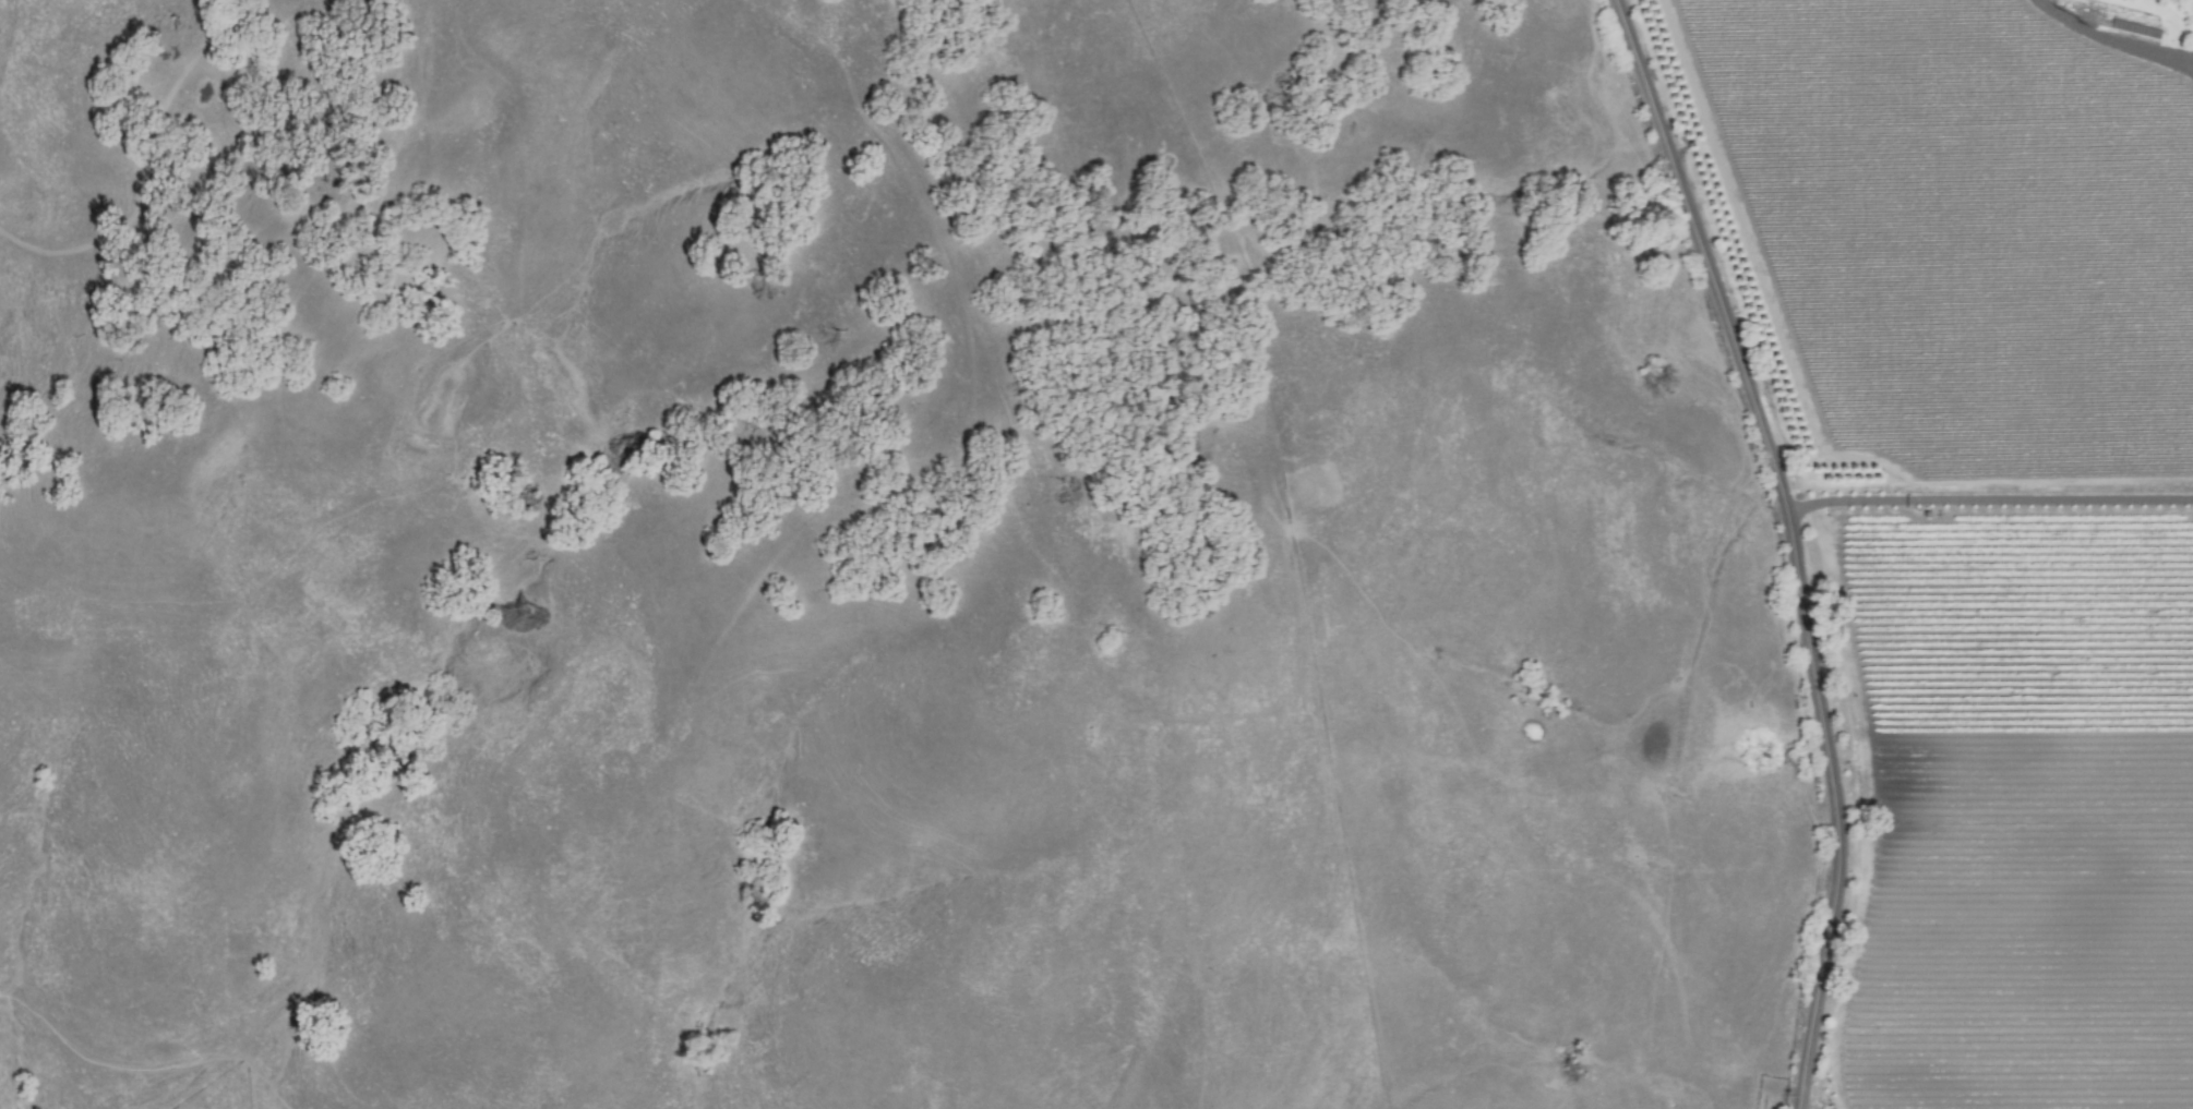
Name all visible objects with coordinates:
road: (2111, 45)
road: (1991, 503)
road: (1795, 543)

